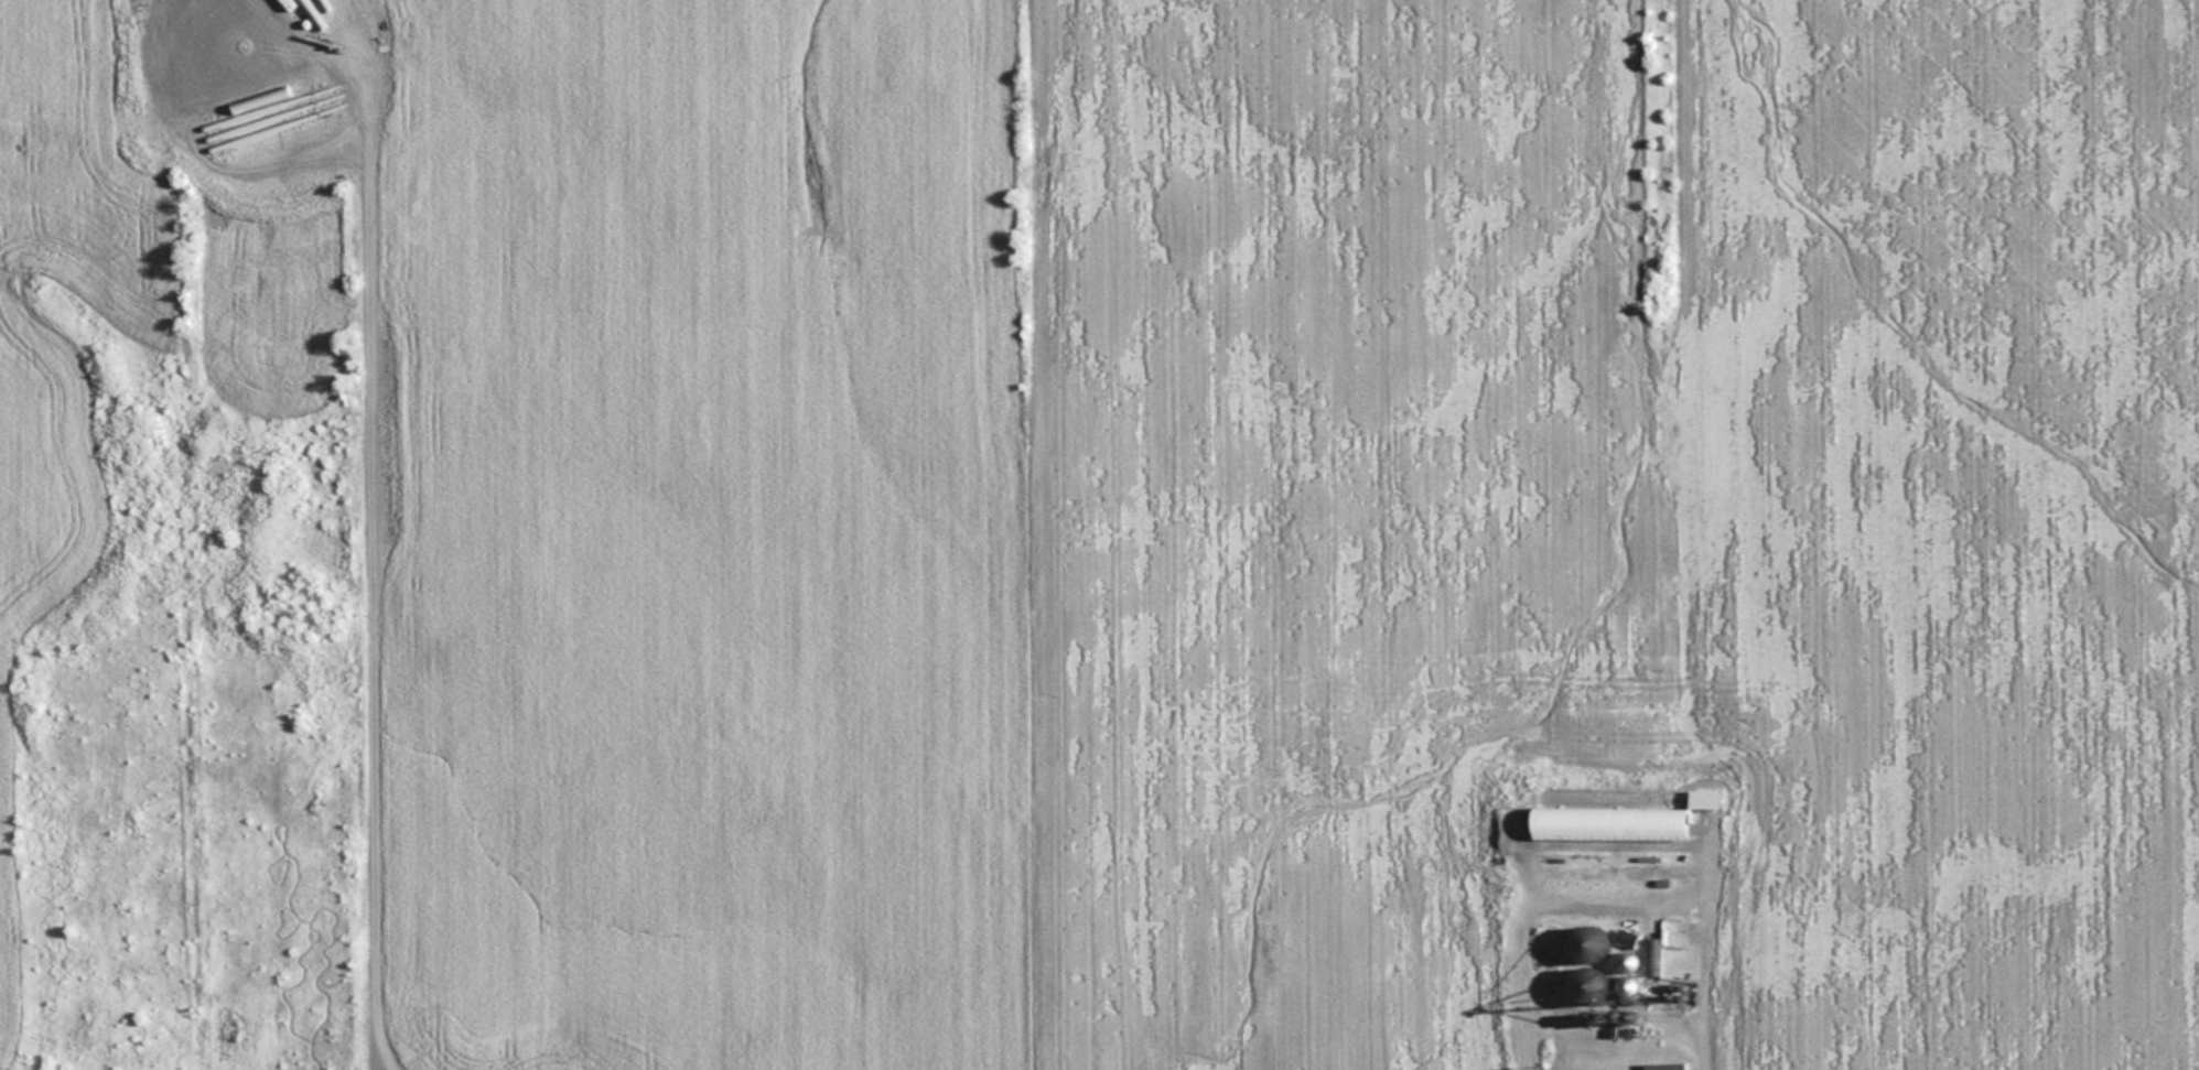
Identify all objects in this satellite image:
wind turbine: (252, 51)
building: (1620, 820)
road: (1615, 904)
building: (1587, 944)
building: (1584, 987)

